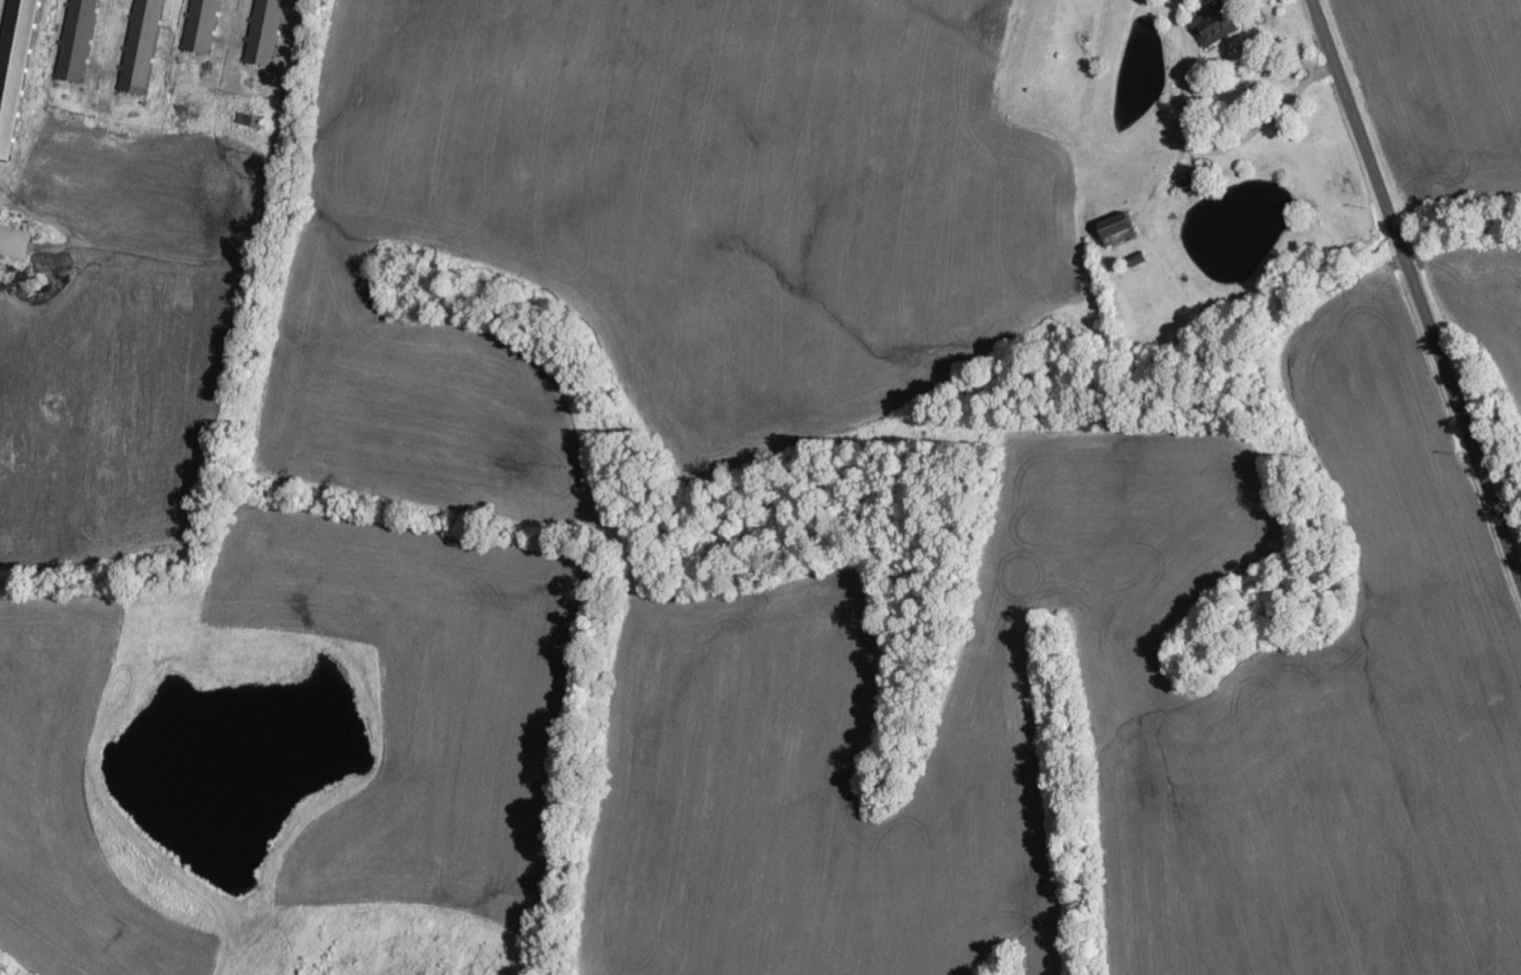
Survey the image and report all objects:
building: (207, 26)
building: (1218, 26)
building: (271, 33)
building: (83, 41)
building: (147, 47)
building: (17, 73)
building: (1121, 230)
road: (1416, 288)

